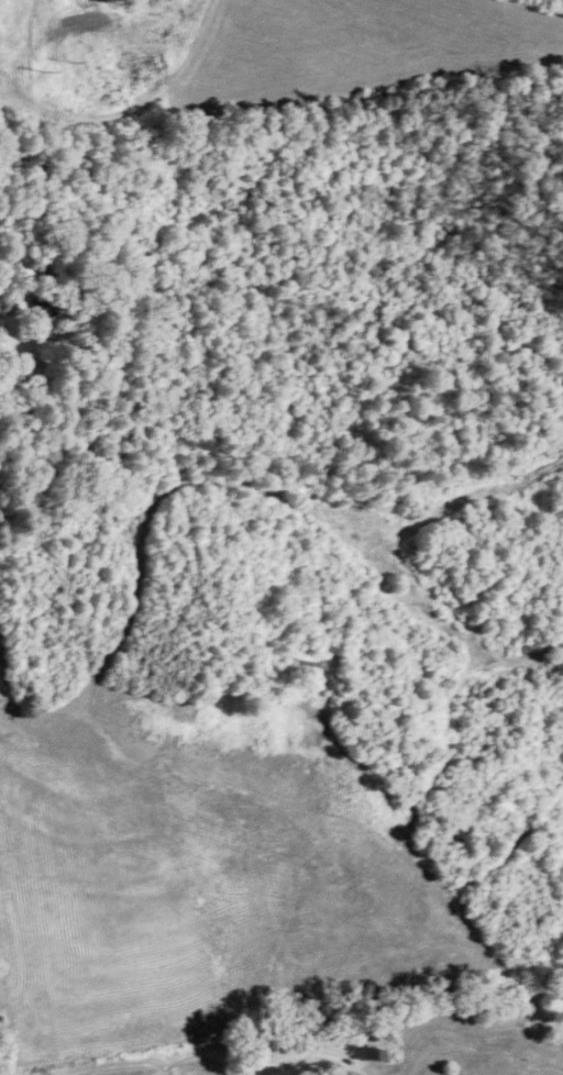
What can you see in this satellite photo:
building: (42, 304)

